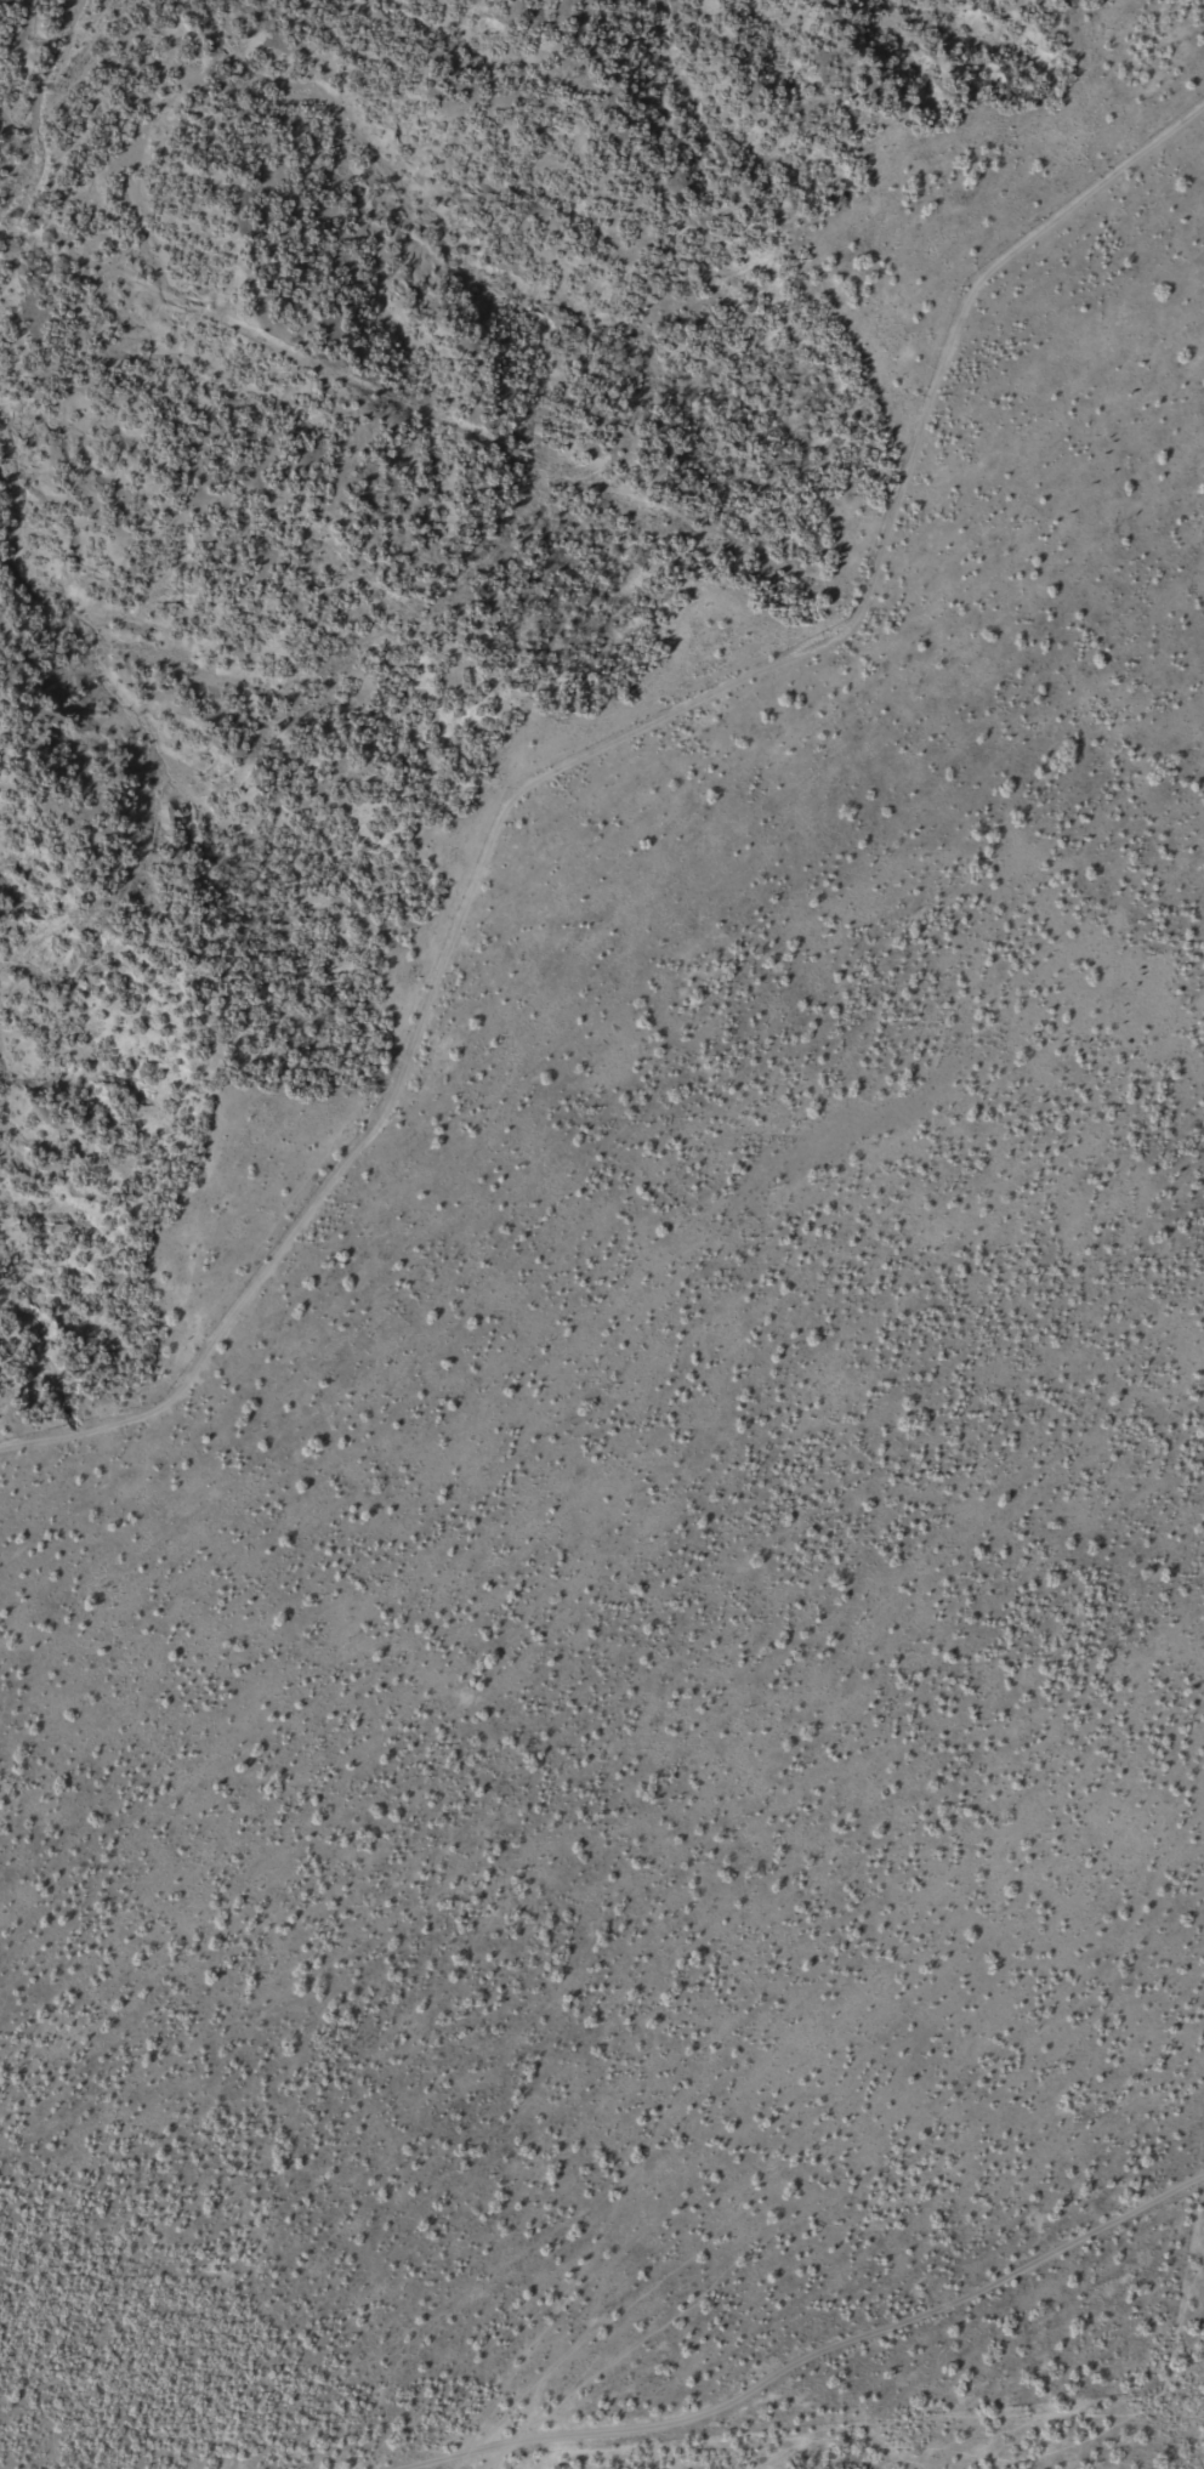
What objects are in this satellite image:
road: (533, 940)
road: (811, 2434)

